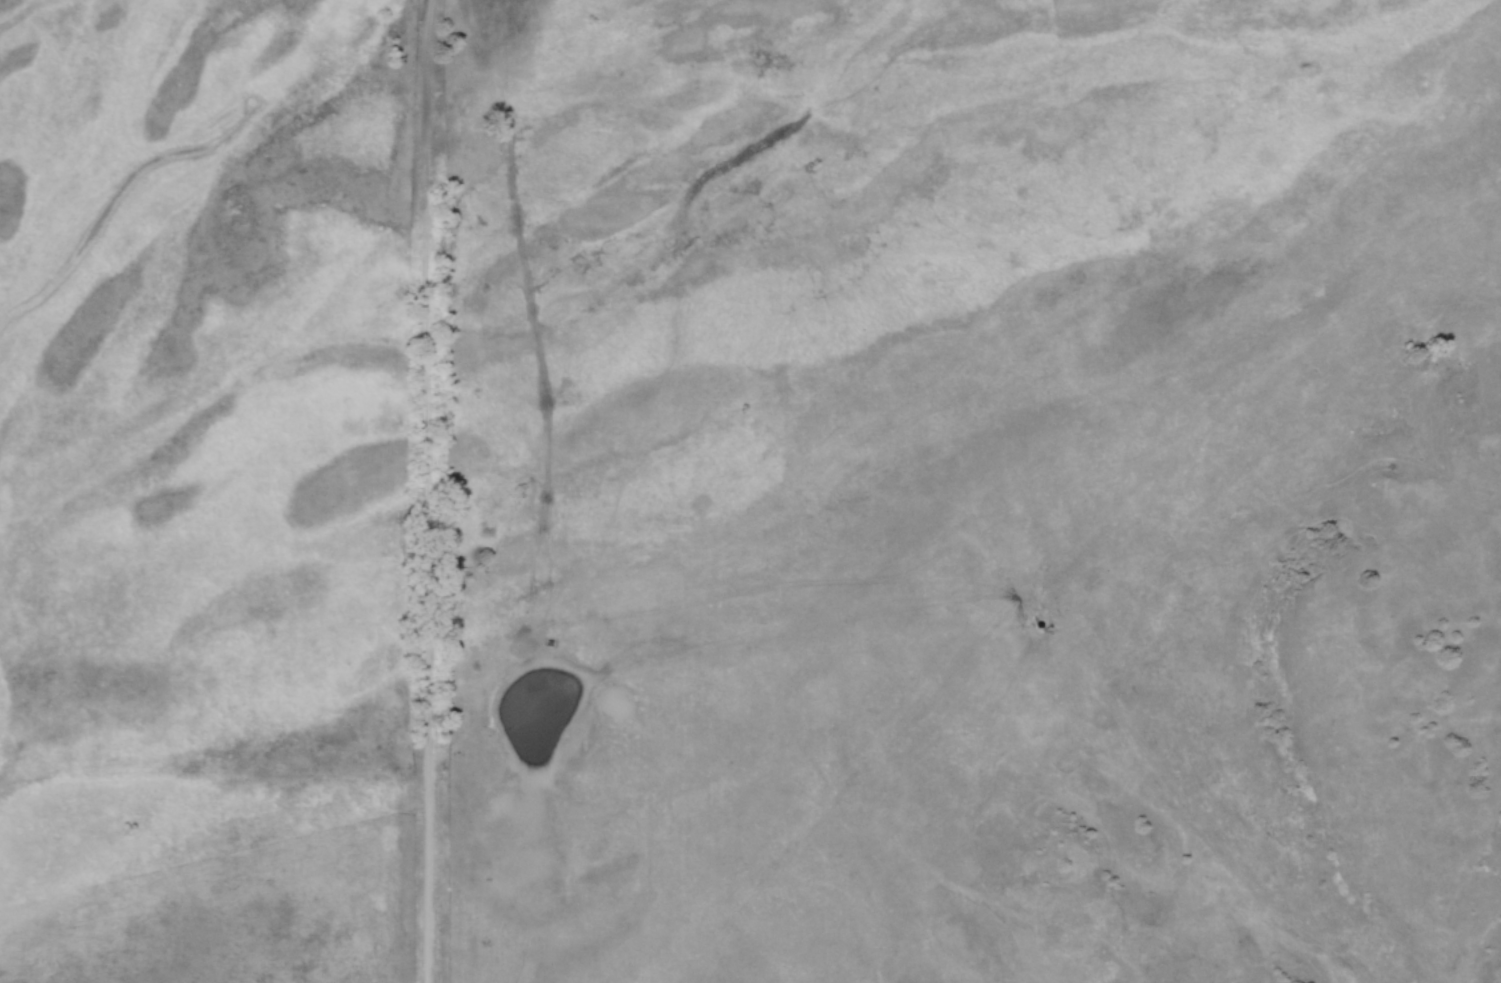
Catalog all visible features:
road: (427, 491)

